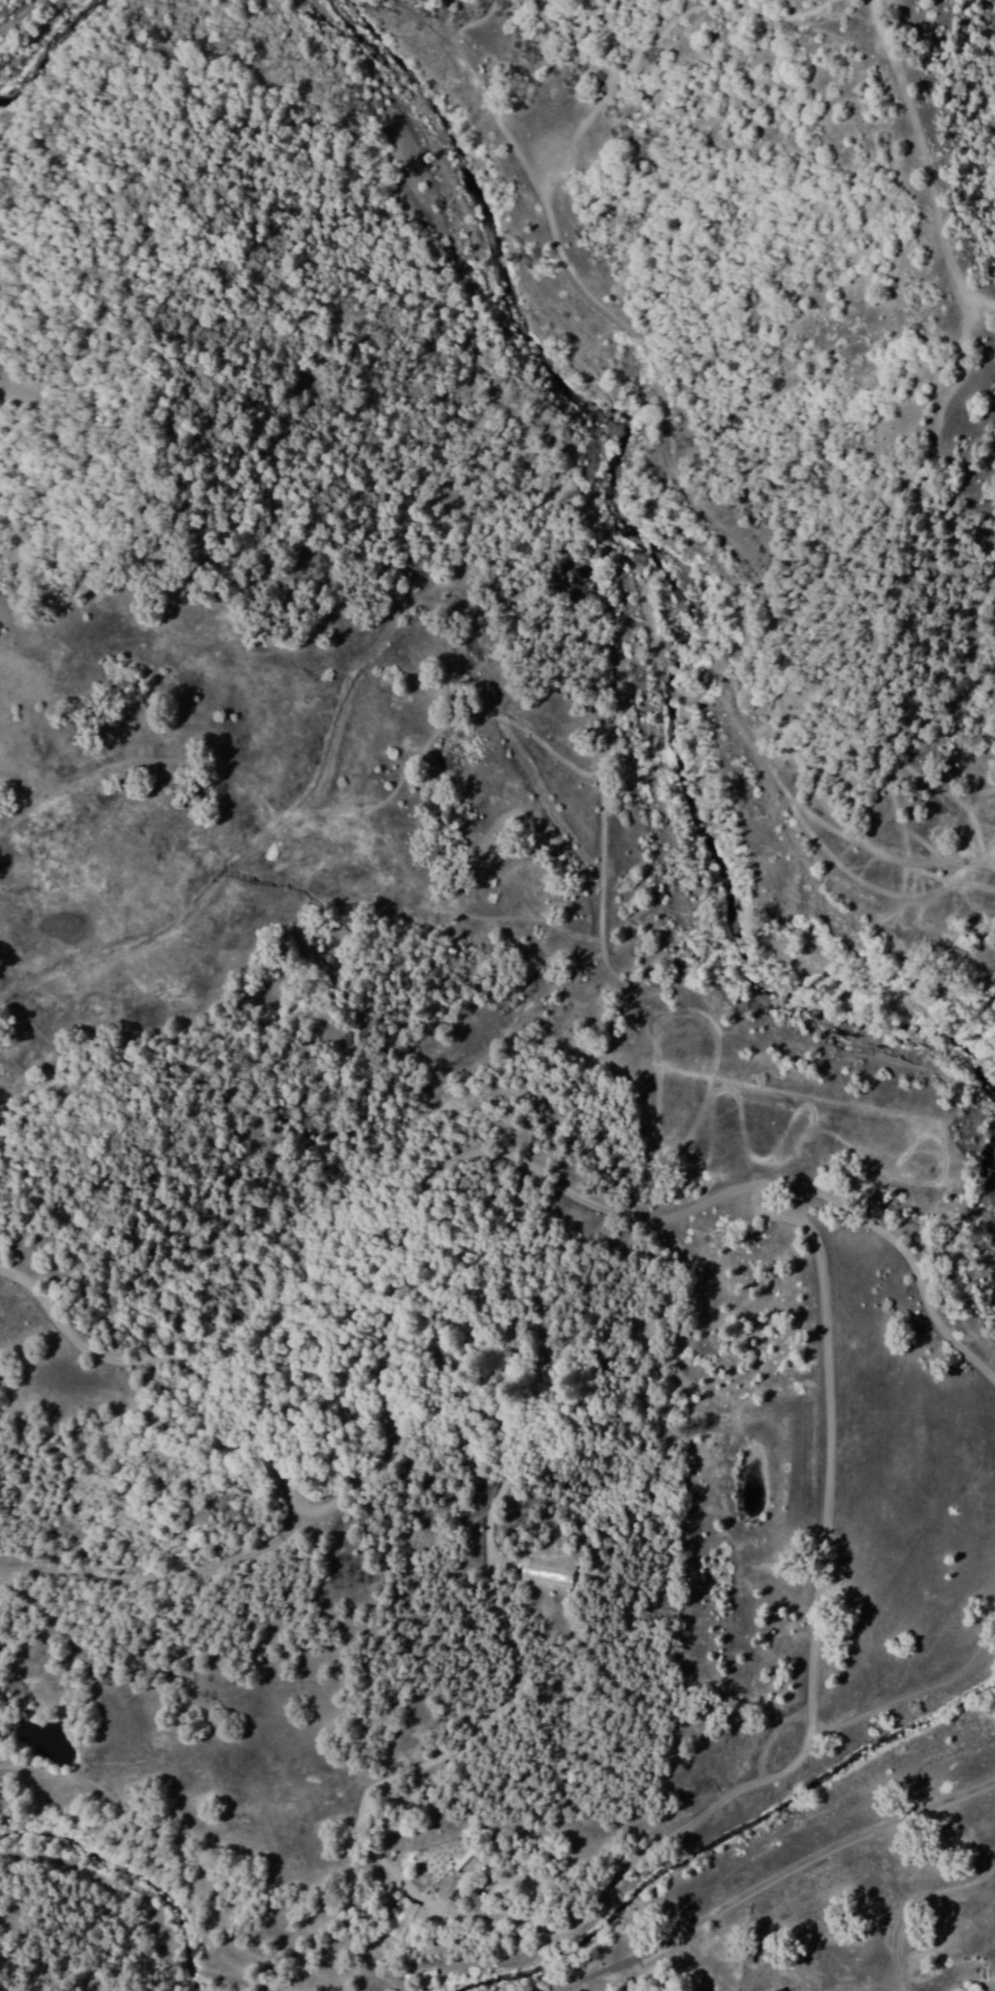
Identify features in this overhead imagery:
road: (13, 11)
road: (922, 160)
road: (681, 473)
road: (539, 1162)
road: (778, 1879)
road: (194, 1949)
building: (741, 1951)
building: (780, 1989)

